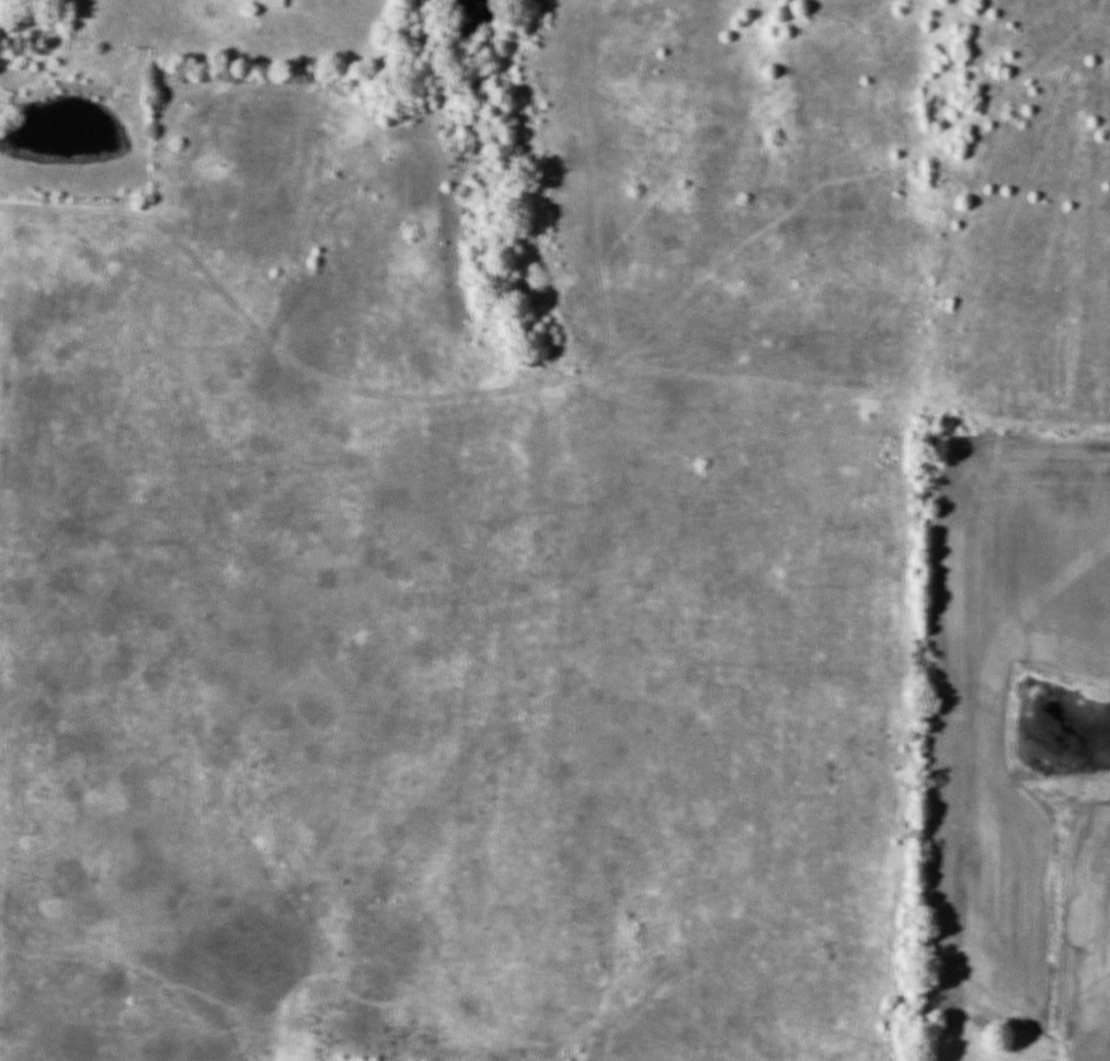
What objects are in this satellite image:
building: (266, 3)

